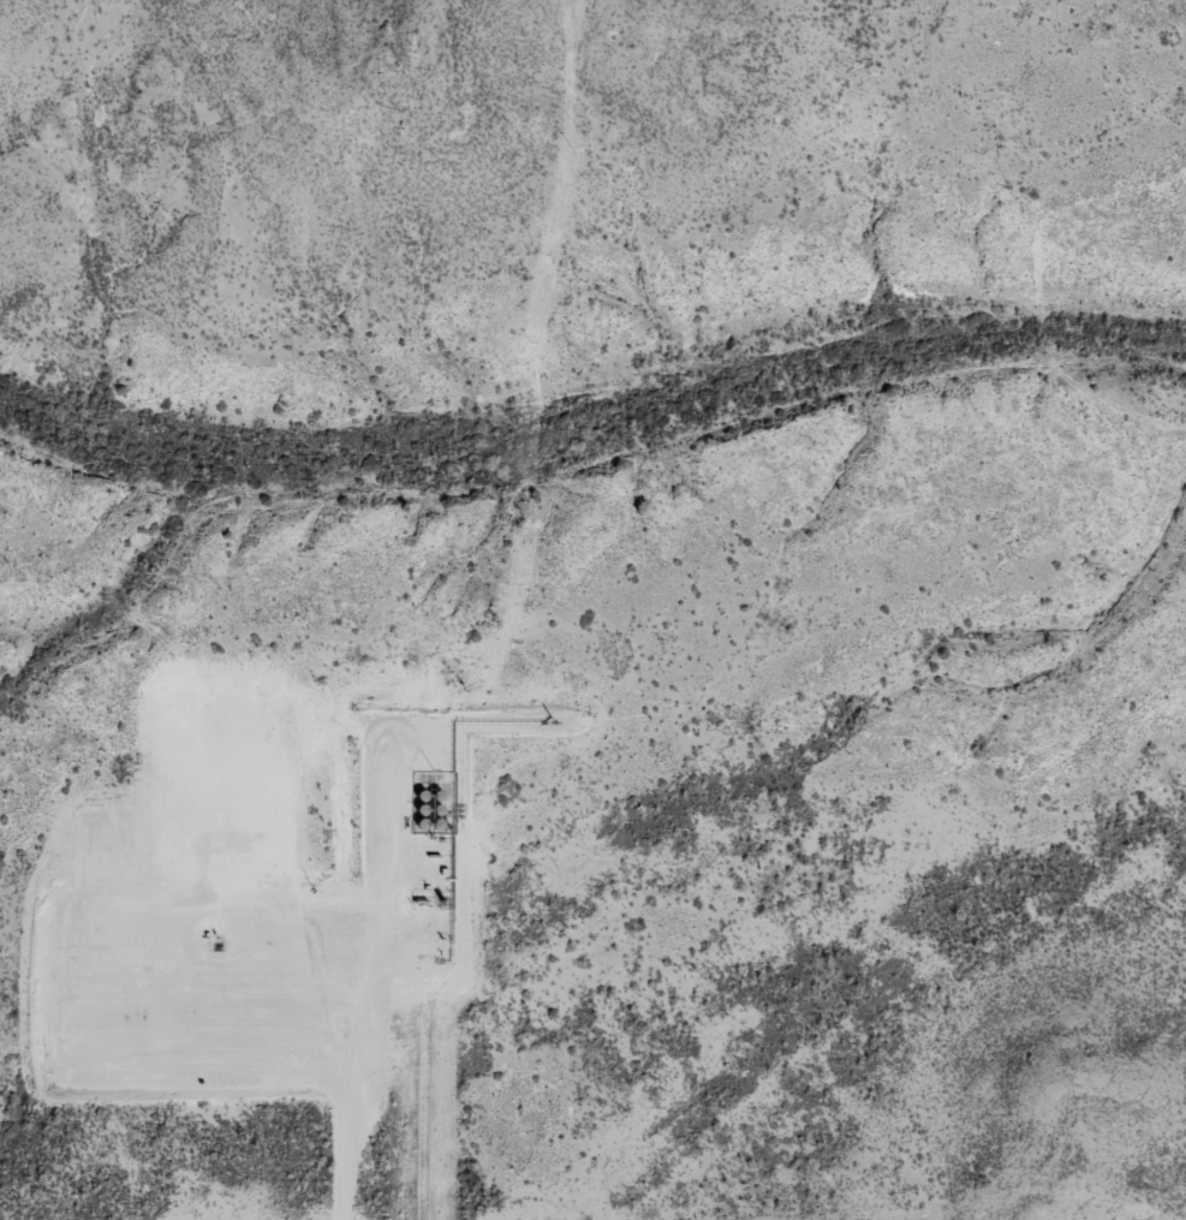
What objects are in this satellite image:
road: (1059, 326)

